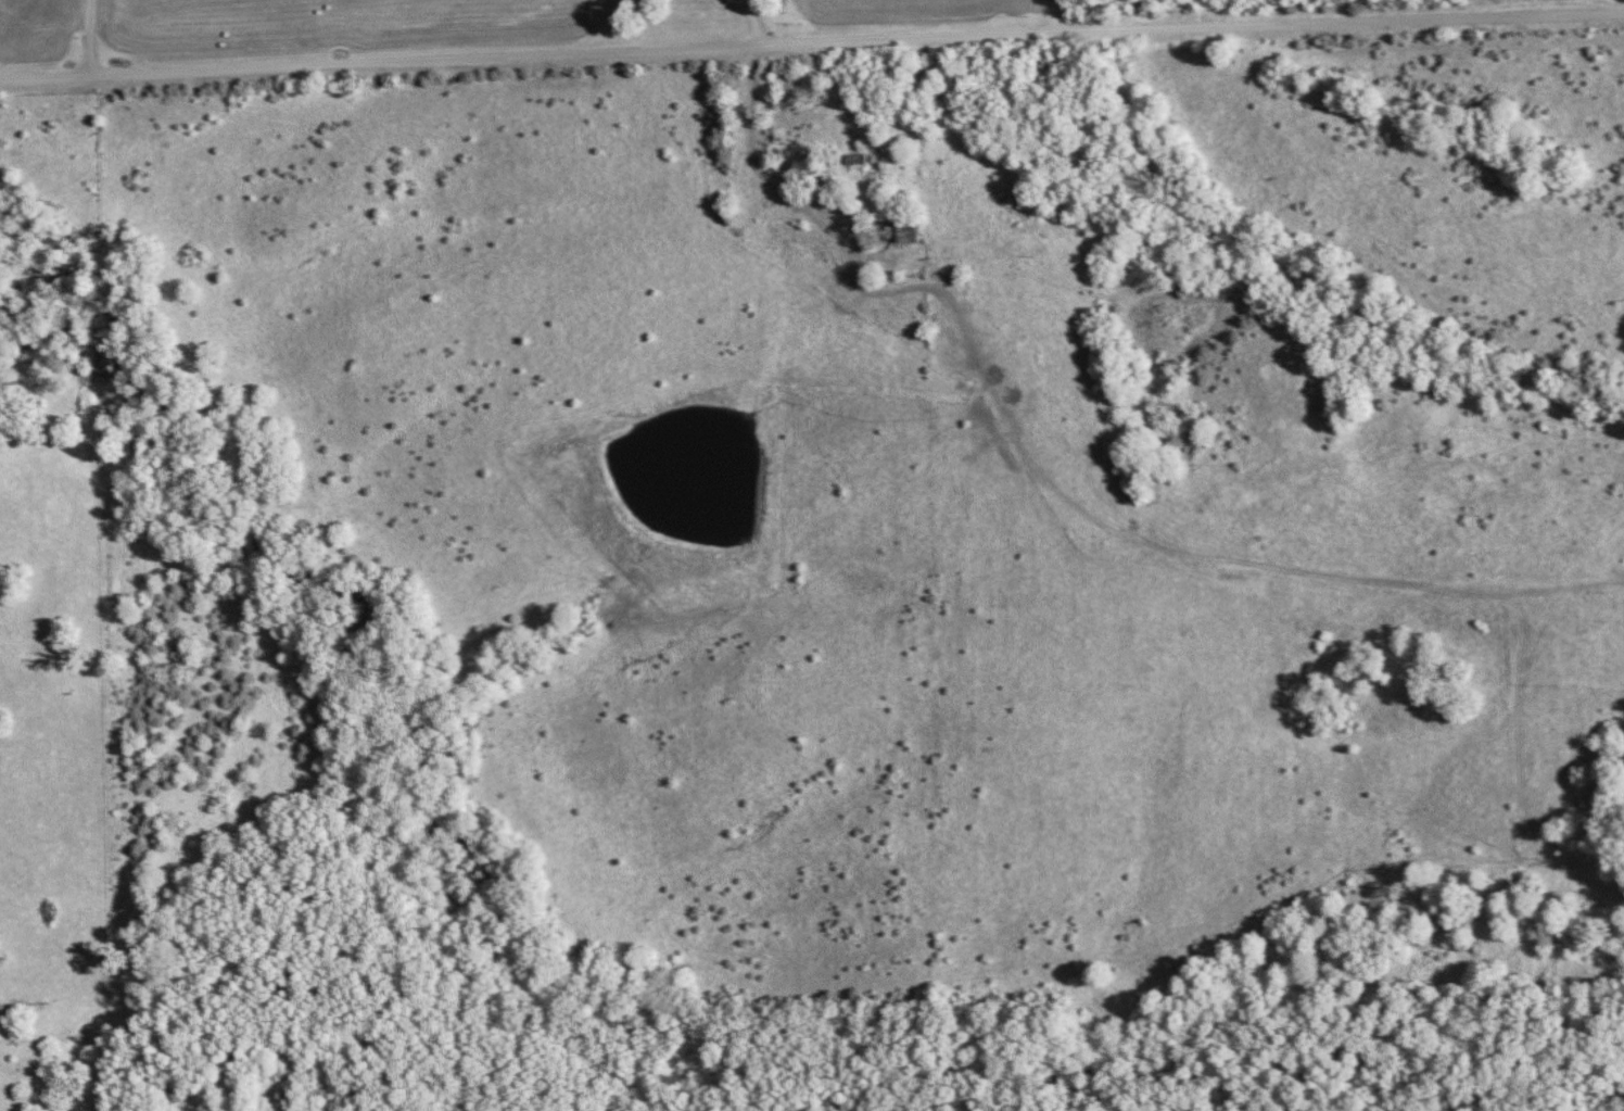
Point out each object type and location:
road: (89, 36)
road: (811, 39)
building: (787, 113)
building: (906, 229)

